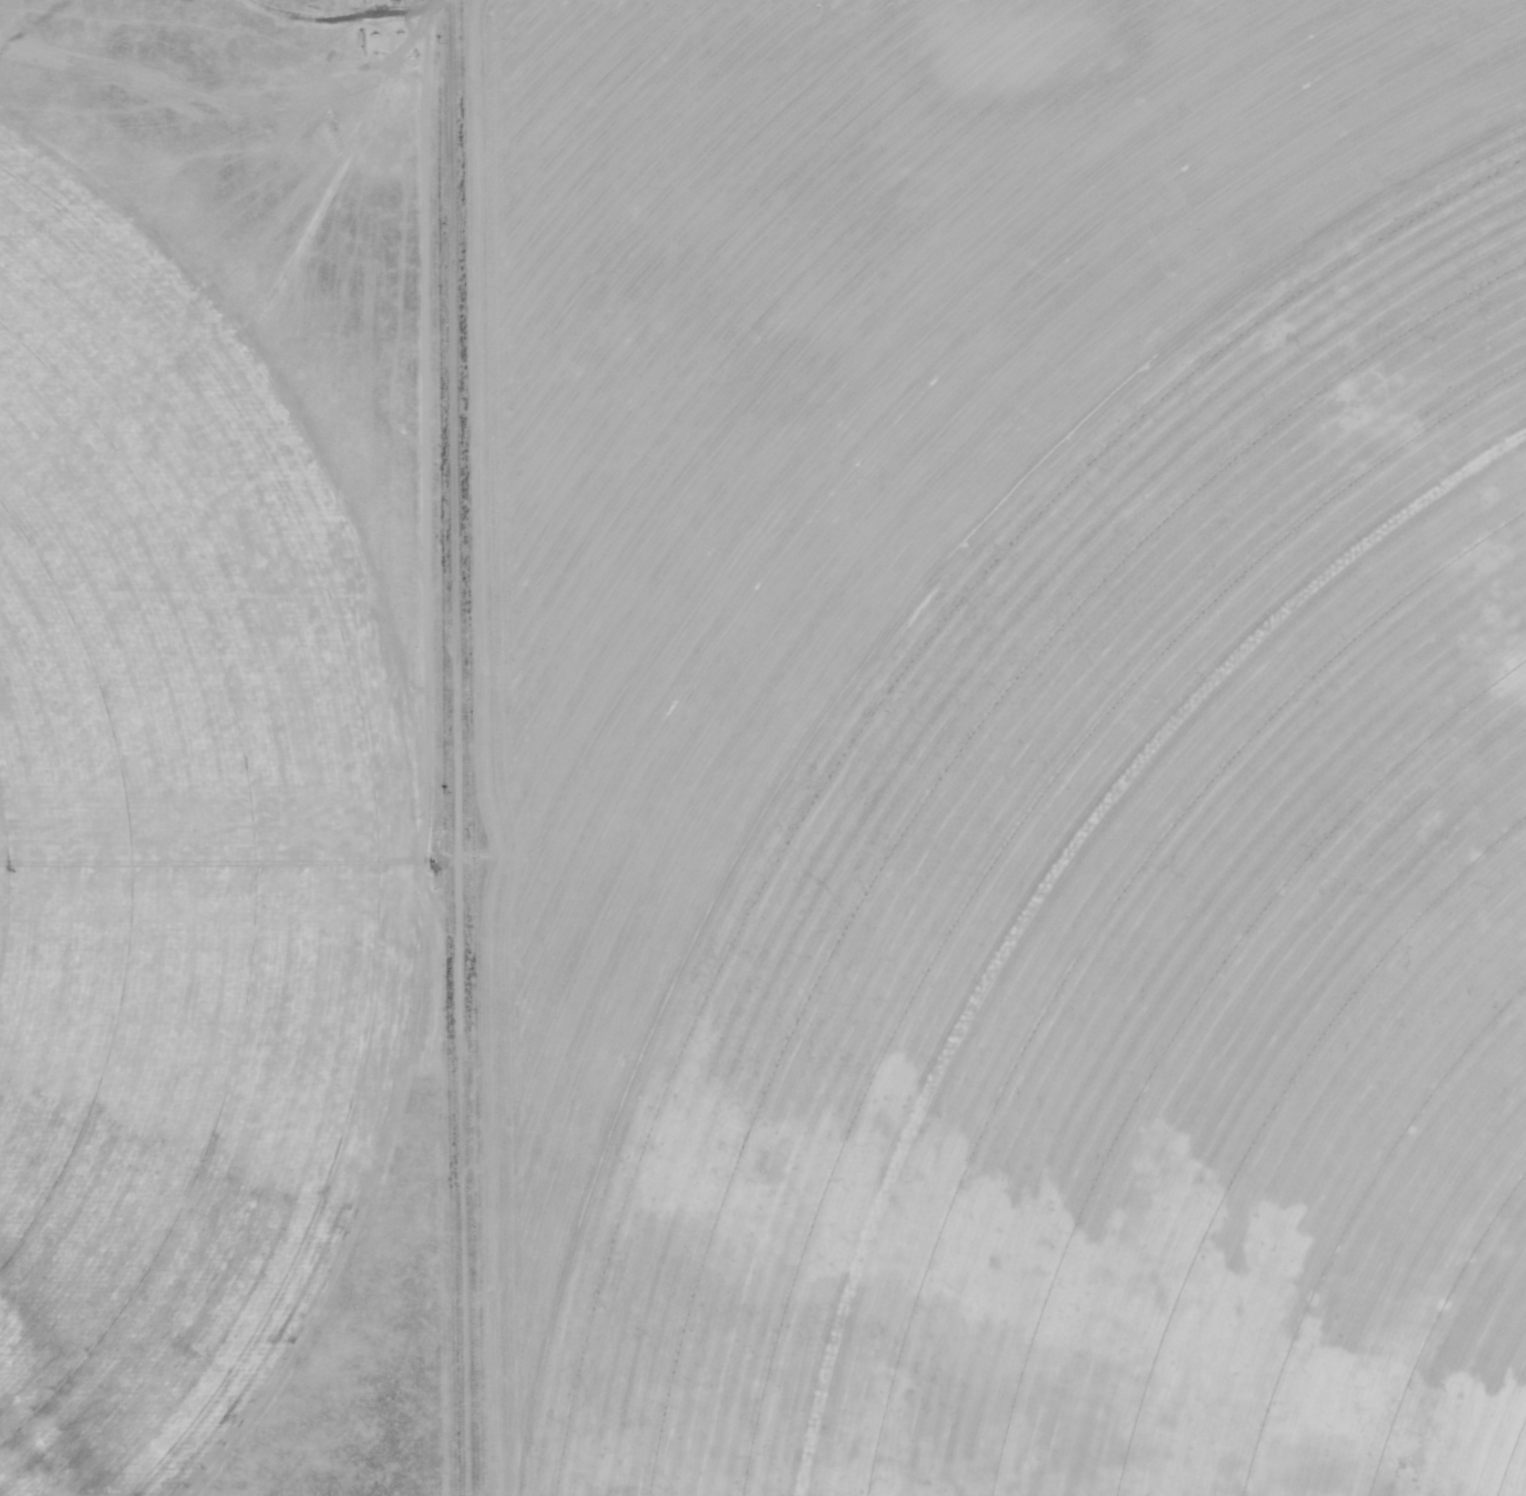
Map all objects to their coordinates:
road: (461, 747)

